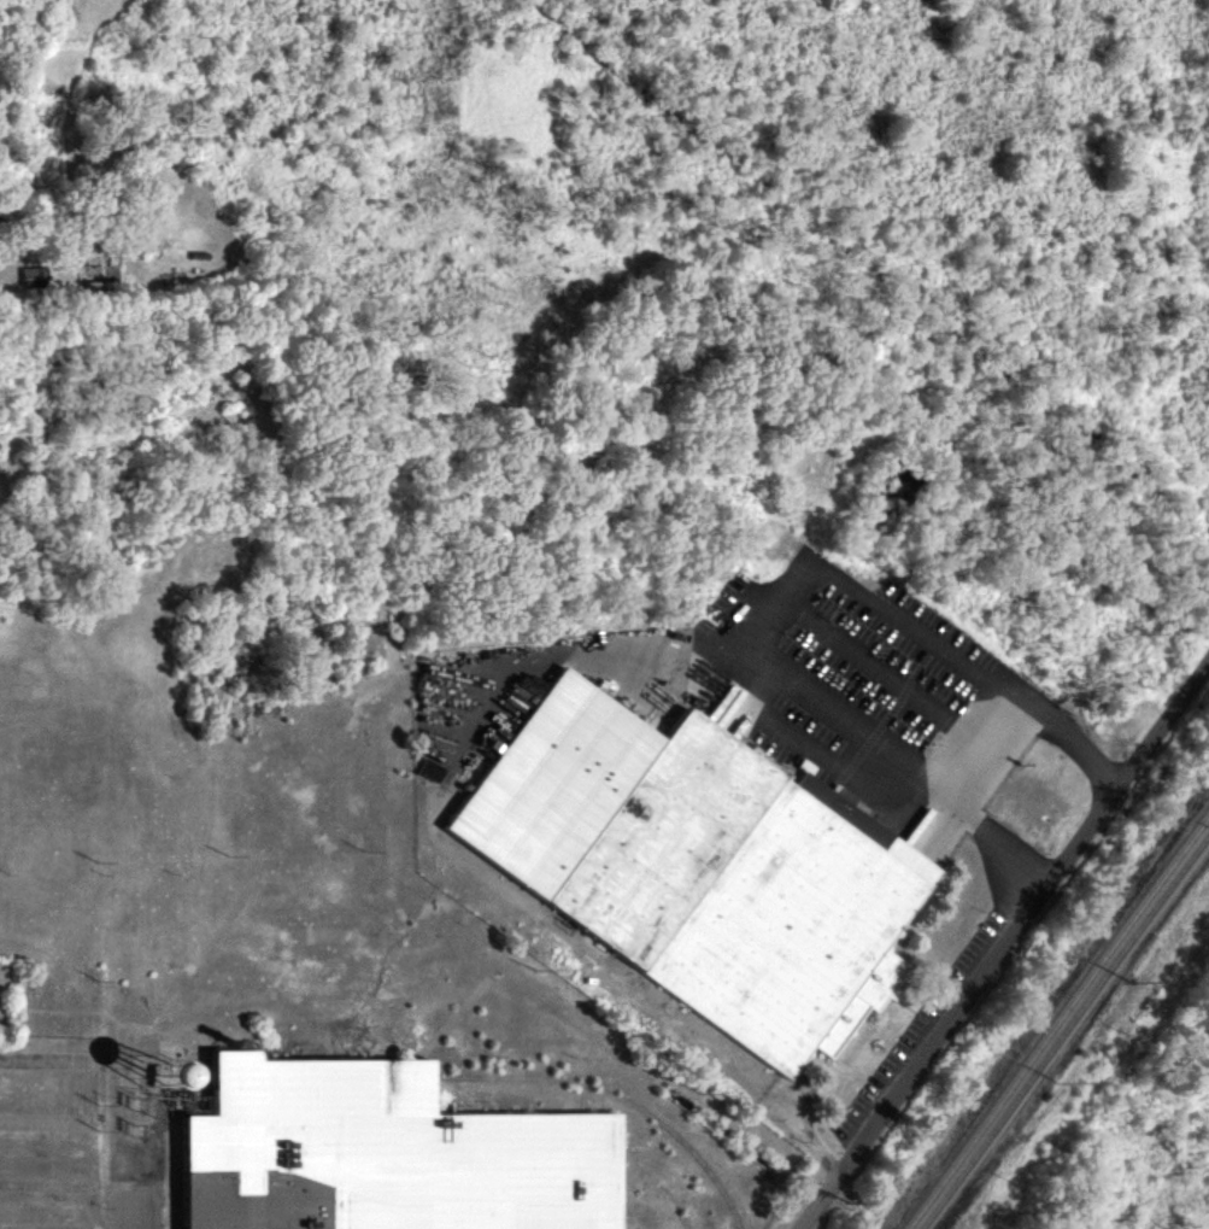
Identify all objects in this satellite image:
road: (30, 235)
building: (34, 276)
road: (768, 611)
road: (997, 761)
road: (1128, 782)
building: (699, 867)
railway: (1060, 1019)
railway: (1064, 1030)
road: (922, 1060)
building: (182, 1073)
railway: (624, 1102)
building: (378, 1154)

